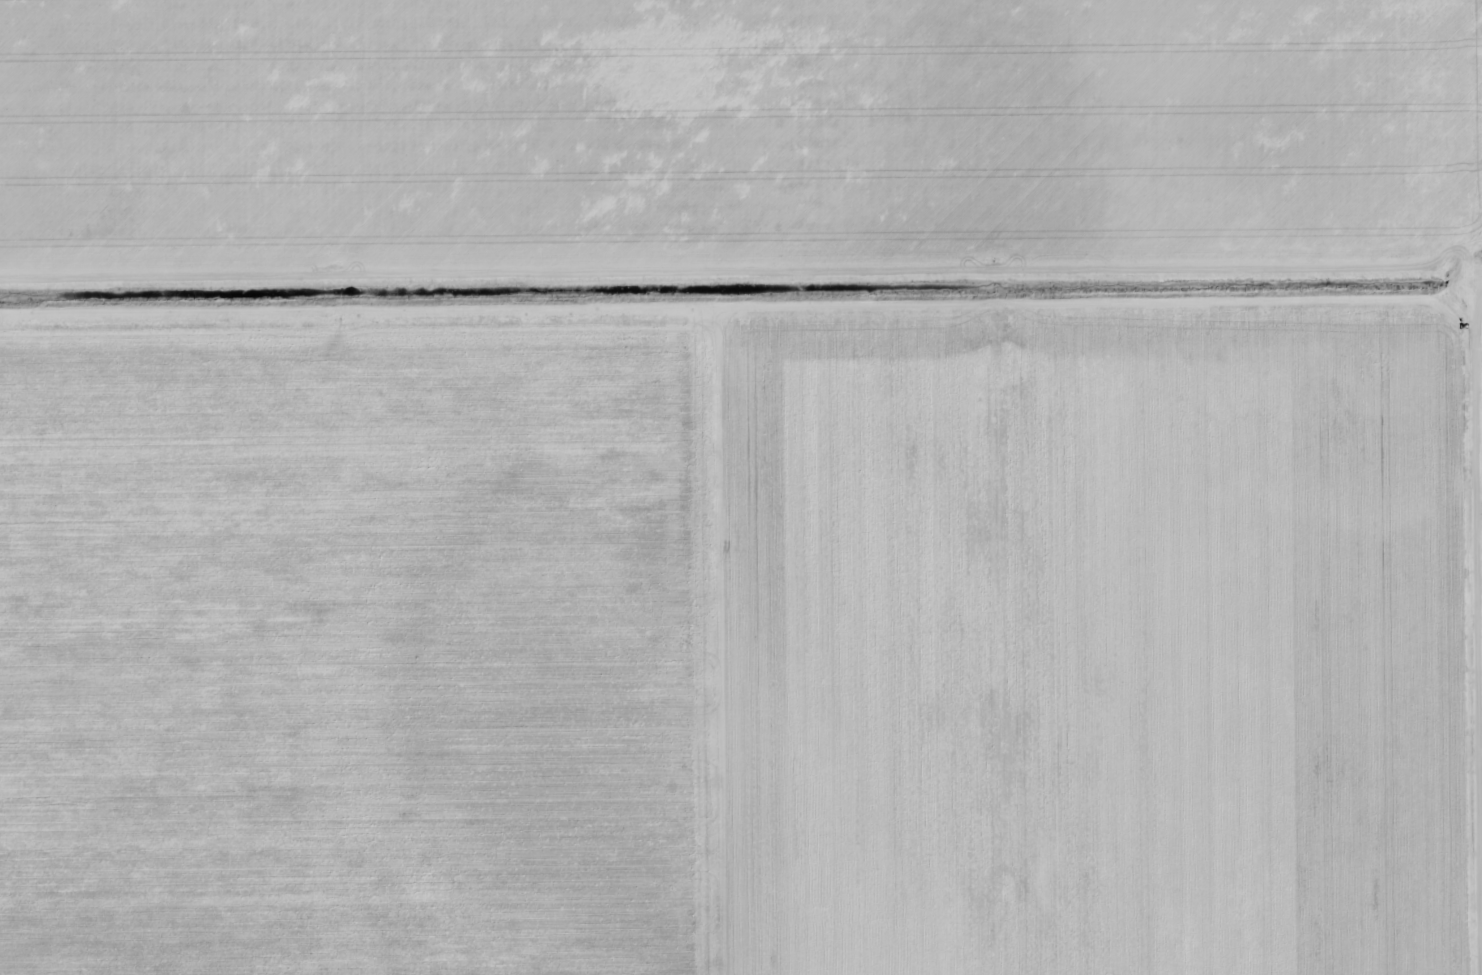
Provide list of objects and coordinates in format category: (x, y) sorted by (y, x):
road: (732, 279)
road: (1465, 599)

